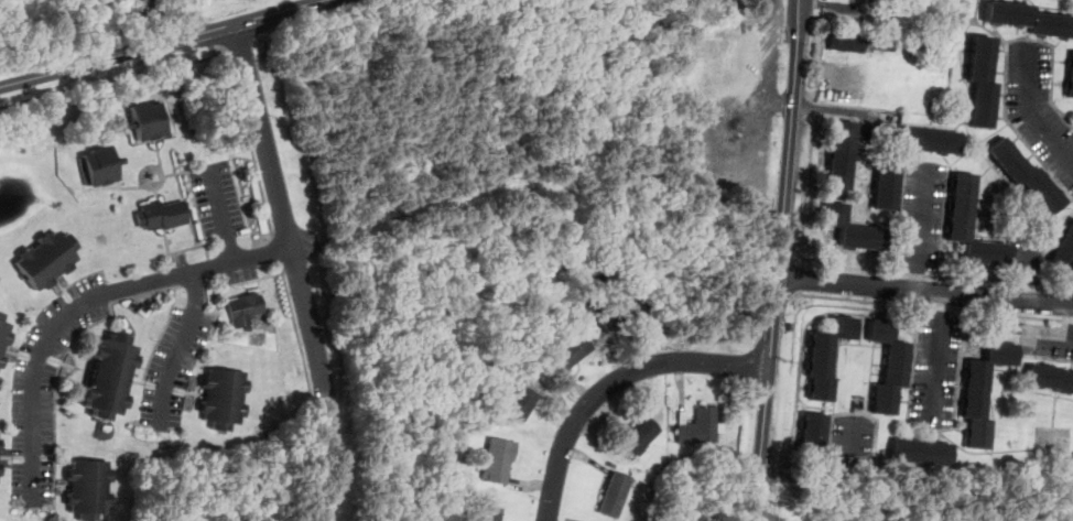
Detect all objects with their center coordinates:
building: (124, 0)
building: (861, 0)
building: (141, 10)
building: (1030, 20)
road: (165, 43)
building: (847, 43)
road: (230, 45)
road: (1006, 61)
road: (115, 77)
building: (984, 83)
building: (1071, 85)
road: (834, 110)
road: (1037, 117)
building: (150, 121)
building: (929, 141)
road: (250, 143)
building: (842, 156)
building: (99, 167)
building: (1028, 175)
building: (889, 187)
road: (902, 200)
building: (963, 208)
road: (280, 211)
road: (225, 213)
building: (164, 216)
building: (853, 230)
road: (922, 231)
road: (278, 251)
building: (1065, 254)
road: (779, 260)
building: (47, 261)
road: (795, 276)
road: (933, 278)
road: (228, 284)
road: (924, 293)
road: (82, 304)
road: (931, 307)
building: (246, 311)
building: (616, 317)
road: (297, 335)
building: (3, 337)
road: (180, 350)
building: (572, 352)
building: (828, 357)
road: (940, 361)
building: (891, 368)
building: (110, 377)
road: (912, 378)
building: (1051, 379)
road: (616, 382)
building: (985, 391)
road: (993, 395)
building: (225, 397)
building: (521, 403)
building: (702, 428)
building: (642, 435)
building: (815, 437)
building: (0, 447)
building: (924, 453)
building: (449, 455)
building: (499, 460)
building: (0, 469)
road: (820, 475)
building: (90, 489)
building: (616, 496)
building: (487, 513)

